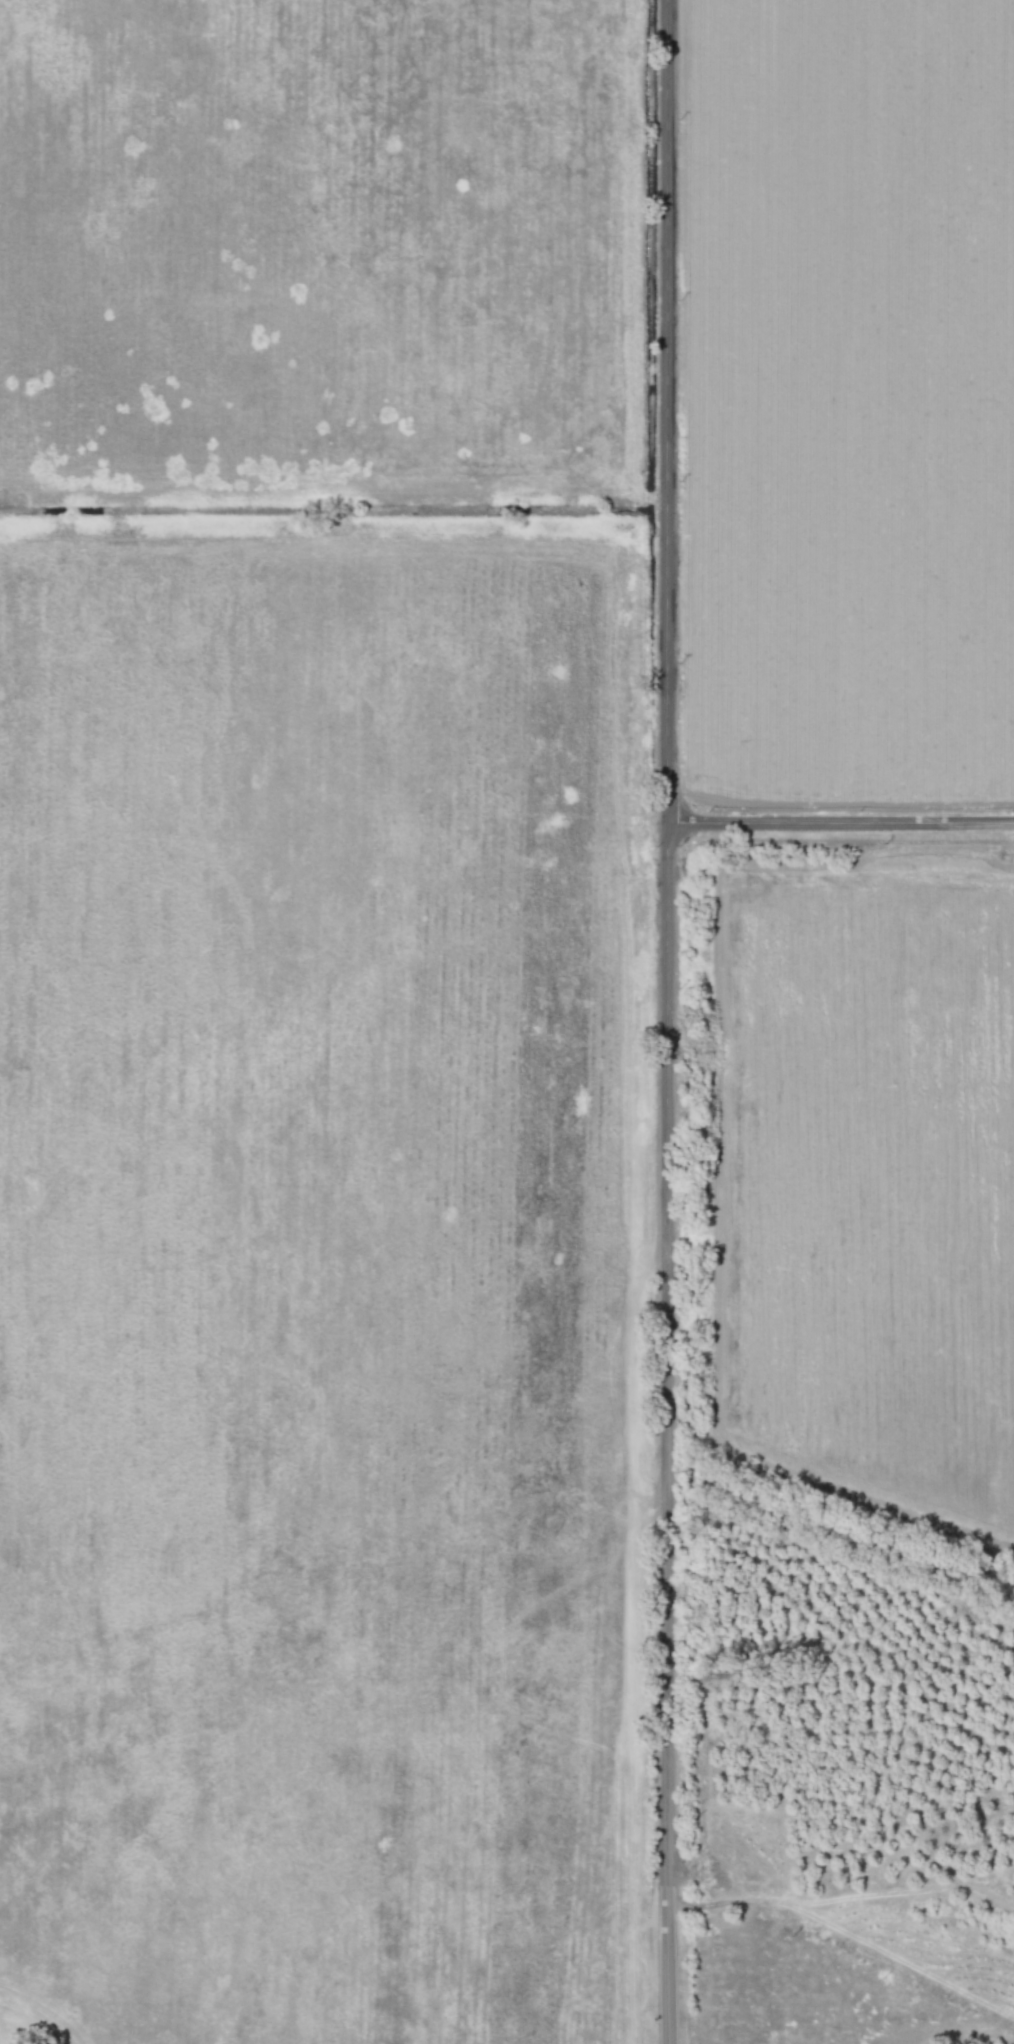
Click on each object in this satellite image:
crop: (850, 406)
road: (841, 823)
road: (668, 1022)

